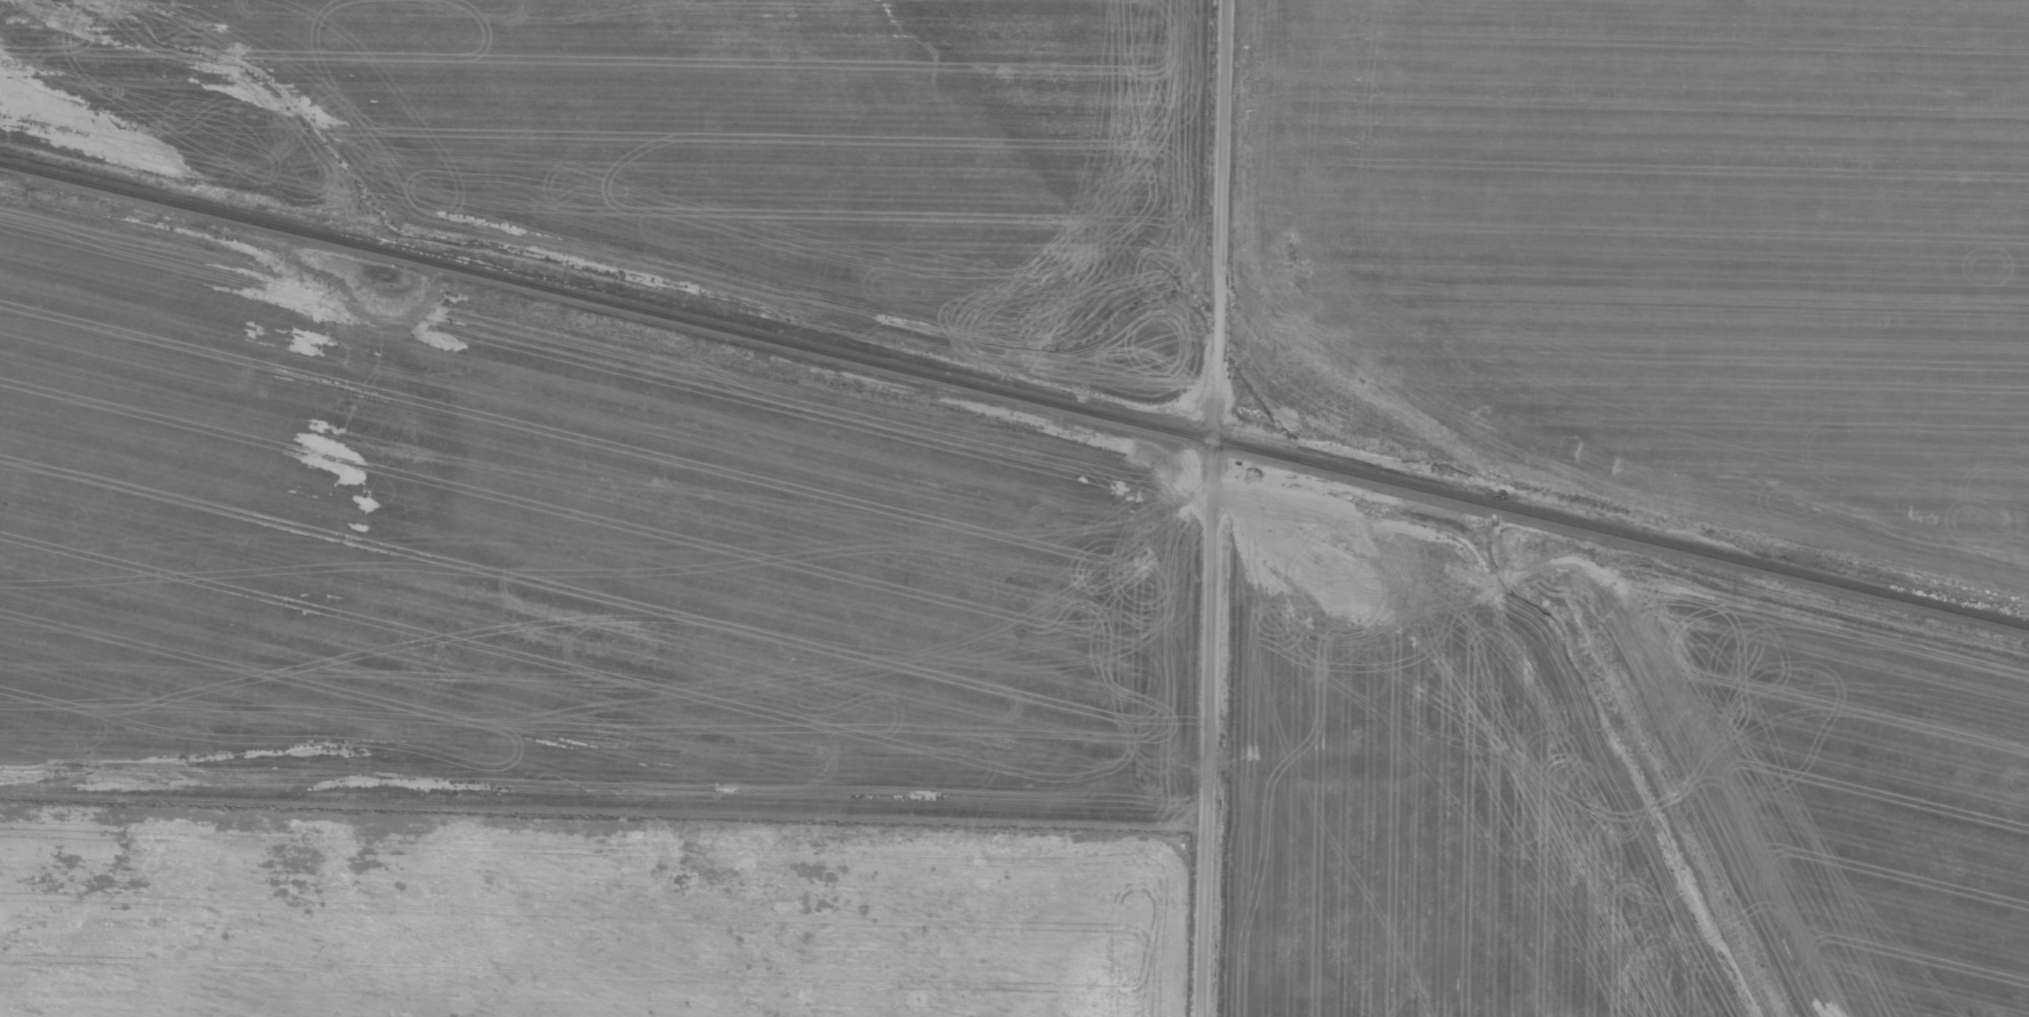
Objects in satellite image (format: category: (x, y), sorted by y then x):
railway: (1014, 395)
road: (1214, 508)

